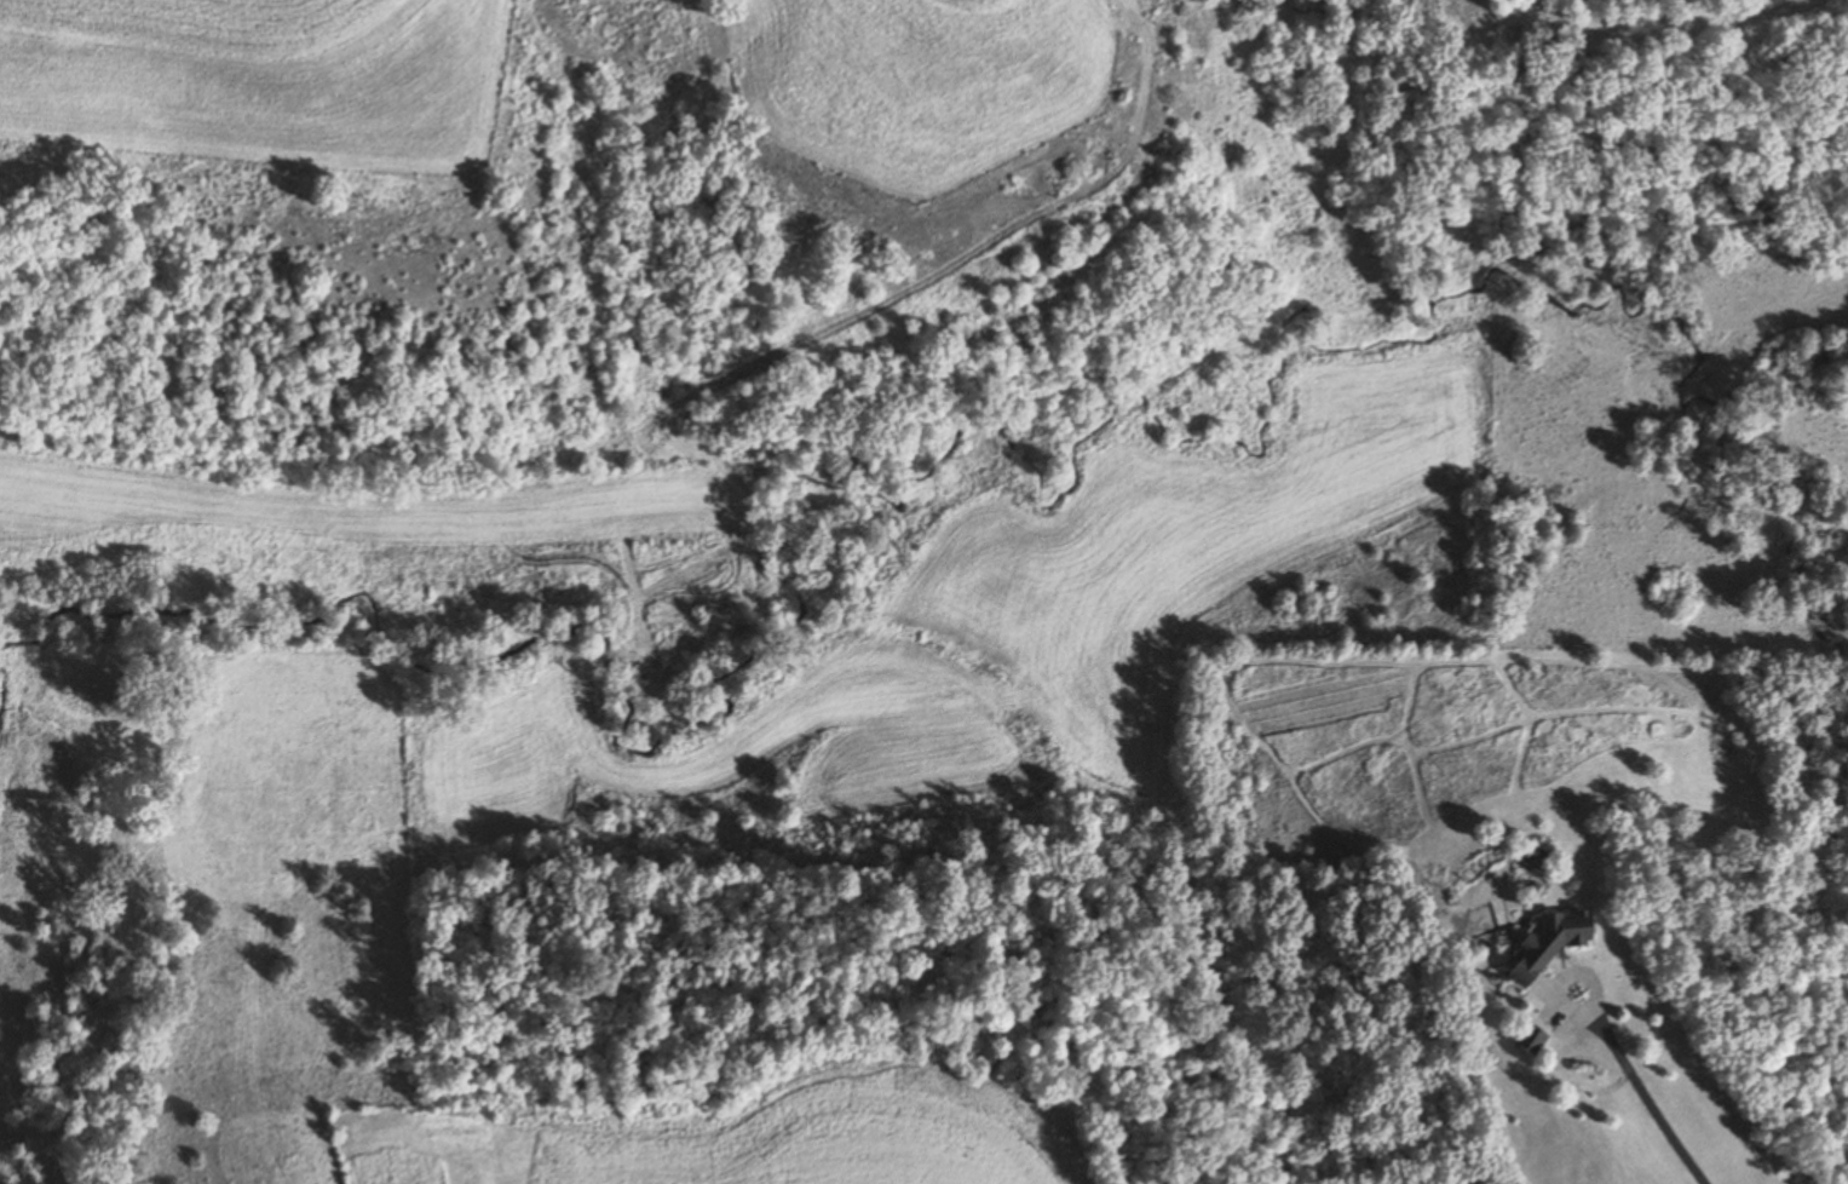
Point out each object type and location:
building: (1553, 943)
road: (1646, 1102)

